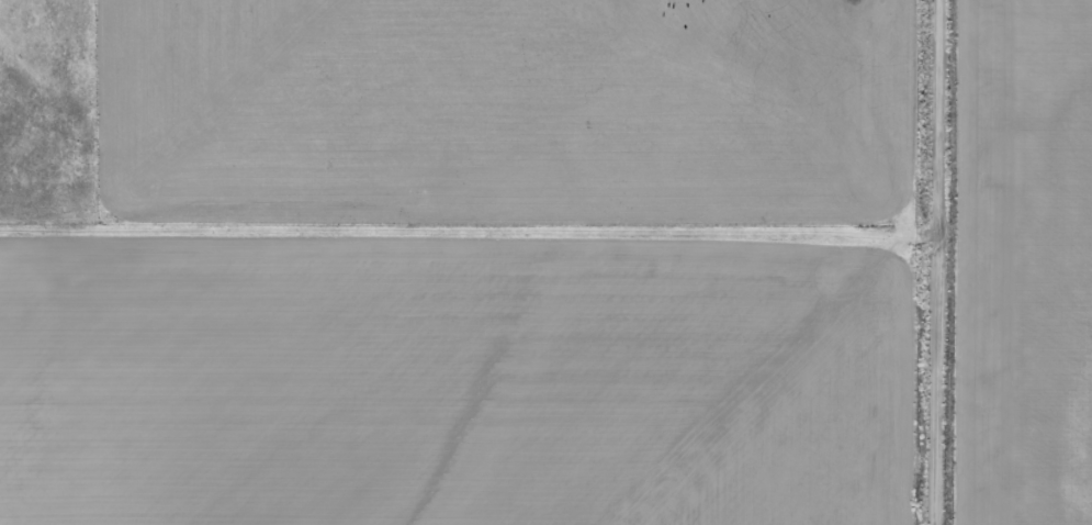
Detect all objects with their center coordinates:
road: (435, 261)
road: (870, 261)

